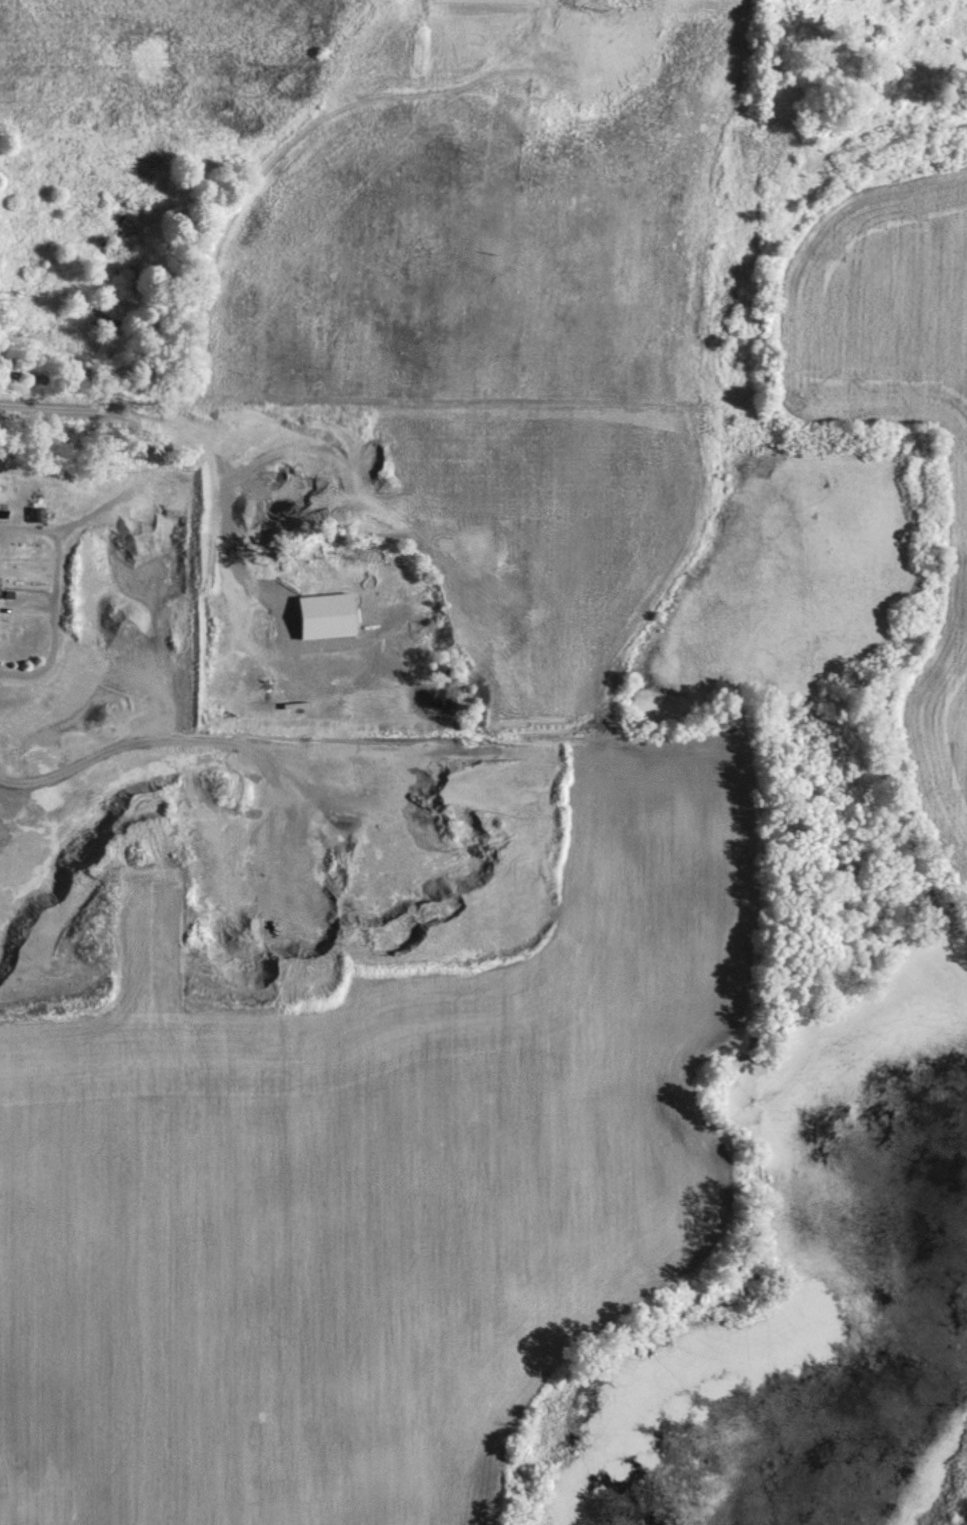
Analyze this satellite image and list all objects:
building: (619, 3)
building: (634, 24)
building: (575, 100)
road: (184, 432)
building: (37, 508)

